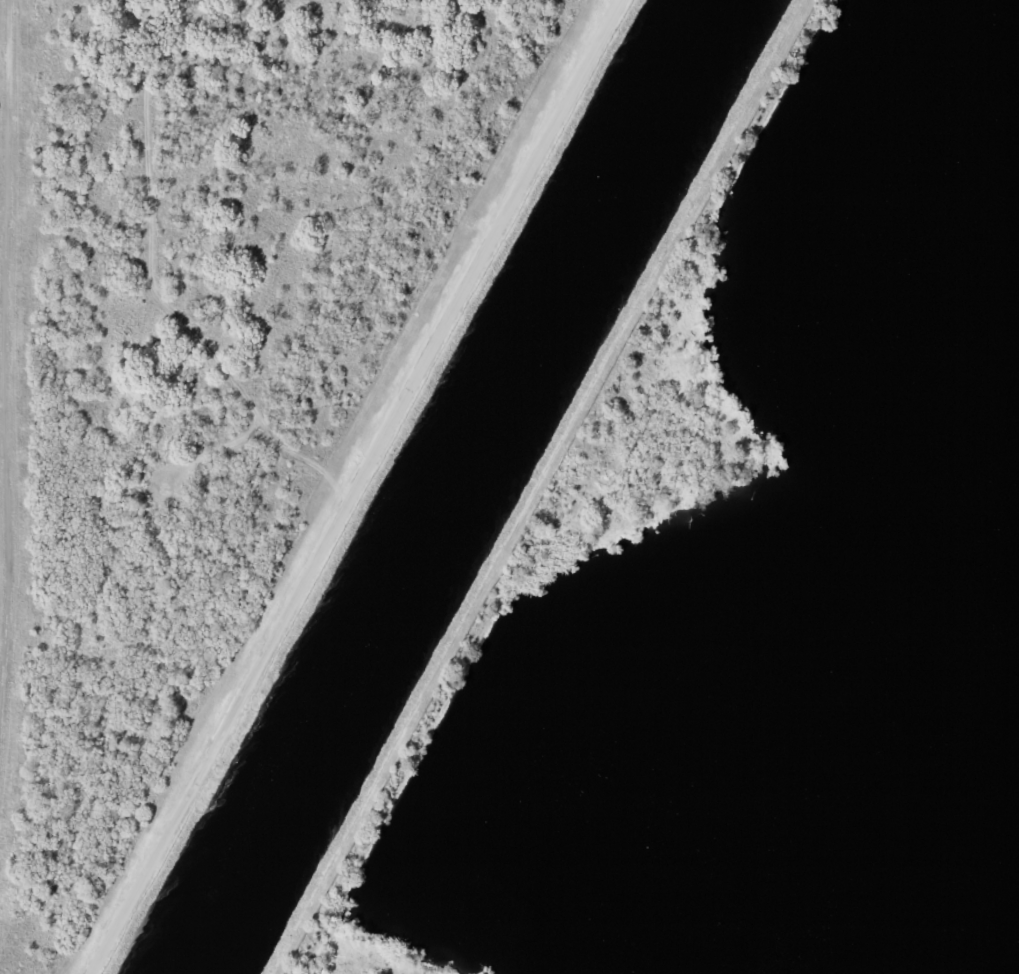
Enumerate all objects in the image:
road: (358, 487)

